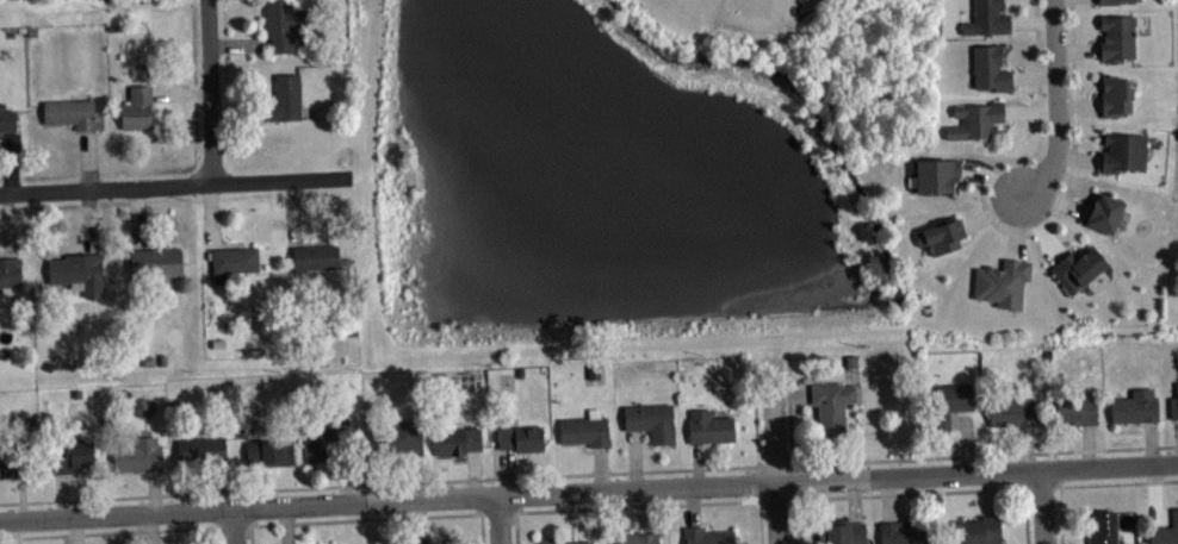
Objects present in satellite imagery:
building: (1108, 1)
building: (987, 18)
building: (283, 24)
building: (1116, 36)
building: (990, 67)
road: (211, 90)
building: (1115, 94)
building: (285, 98)
road: (1055, 100)
building: (138, 107)
building: (74, 113)
building: (7, 118)
building: (976, 119)
building: (1123, 151)
building: (936, 174)
road: (174, 183)
building: (1104, 212)
road: (1005, 230)
building: (941, 235)
building: (315, 256)
building: (232, 262)
building: (156, 263)
building: (1078, 267)
building: (10, 270)
building: (79, 271)
building: (1002, 281)
building: (1173, 400)
building: (948, 405)
building: (832, 406)
building: (1134, 406)
building: (1075, 407)
building: (1012, 409)
road: (756, 414)
building: (650, 419)
building: (709, 426)
building: (585, 429)
building: (324, 432)
building: (521, 437)
building: (403, 438)
building: (457, 439)
road: (1131, 446)
building: (201, 450)
road: (774, 450)
building: (269, 451)
building: (70, 455)
building: (138, 455)
road: (876, 459)
building: (12, 462)
road: (792, 463)
road: (1103, 482)
road: (366, 483)
road: (1043, 486)
road: (954, 489)
road: (588, 490)
road: (638, 505)
road: (794, 505)
road: (1042, 506)
road: (498, 512)
road: (414, 515)
road: (500, 519)
road: (759, 521)
road: (274, 523)
road: (232, 525)
road: (234, 525)
road: (516, 527)
building: (1103, 527)
building: (979, 530)
road: (1061, 530)
road: (107, 531)
building: (1164, 531)
building: (841, 532)
building: (903, 532)
road: (217, 536)
building: (708, 536)
building: (635, 537)
building: (562, 540)
building: (424, 542)

